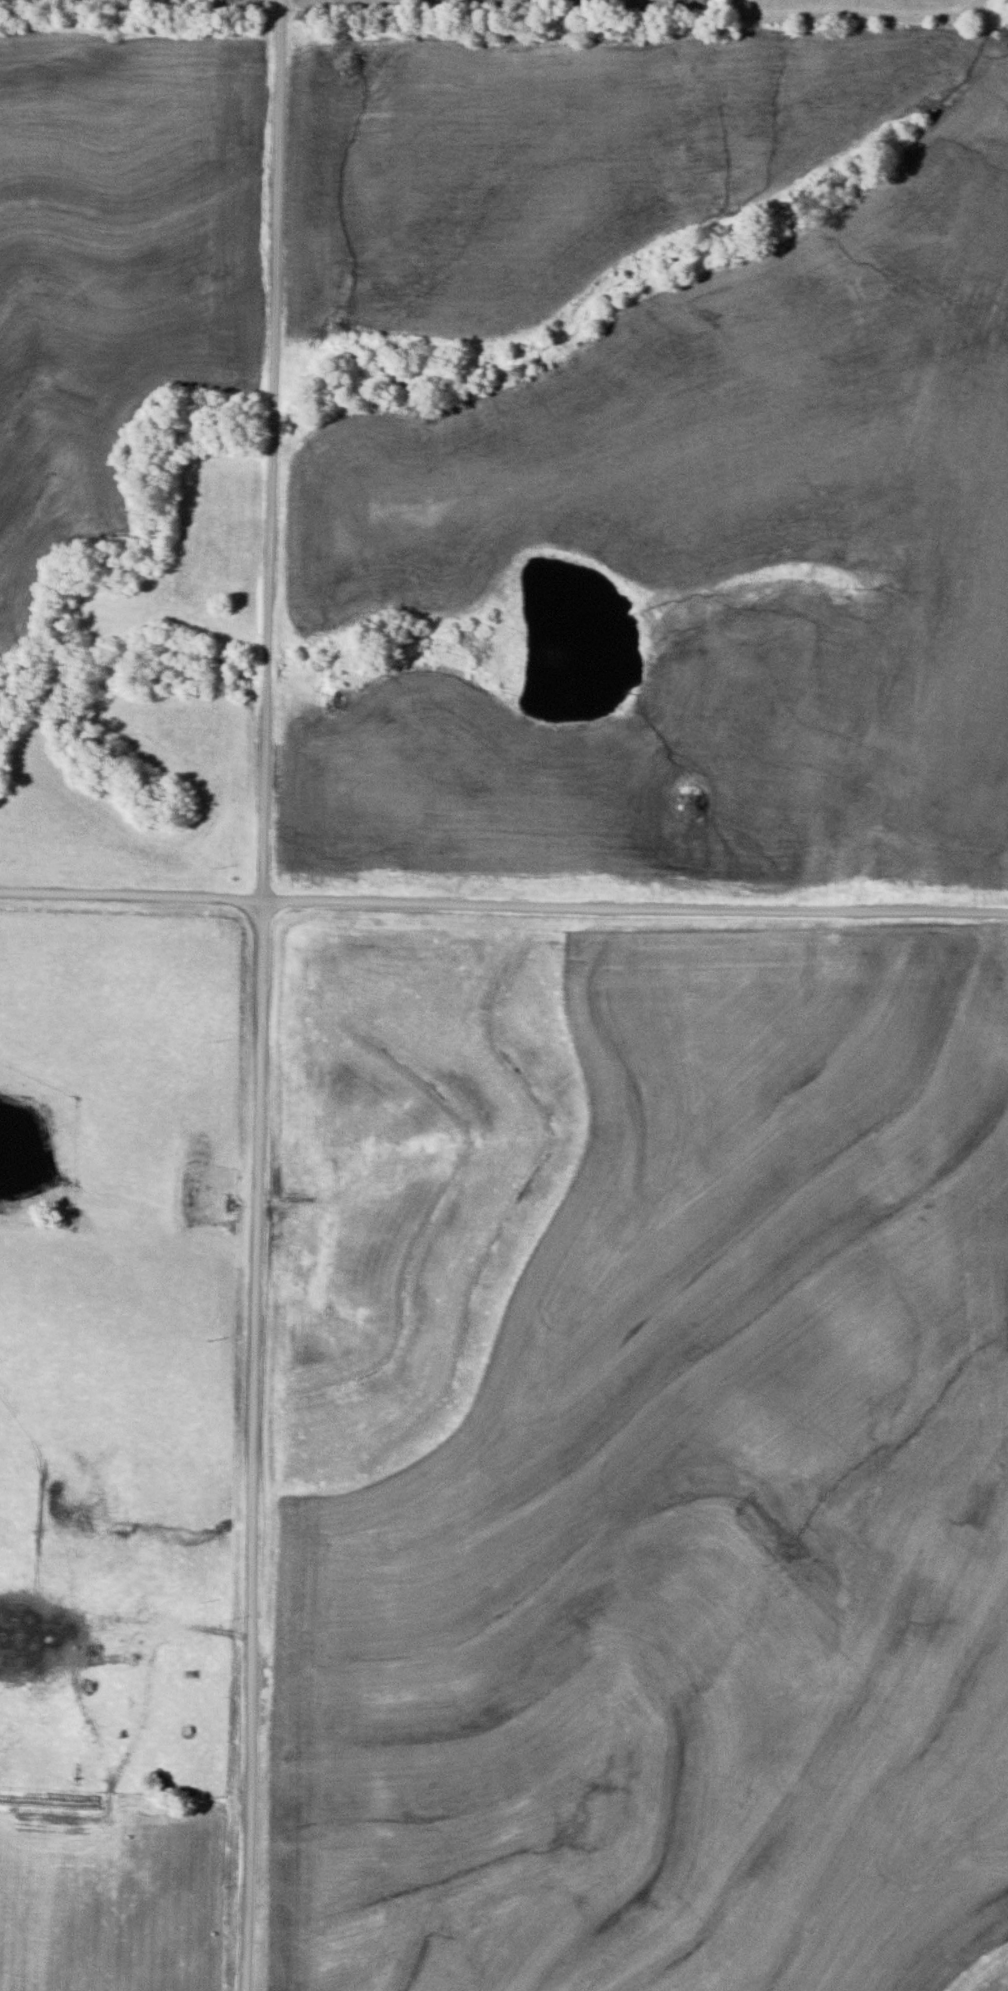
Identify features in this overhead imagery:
road: (503, 936)
road: (253, 995)

